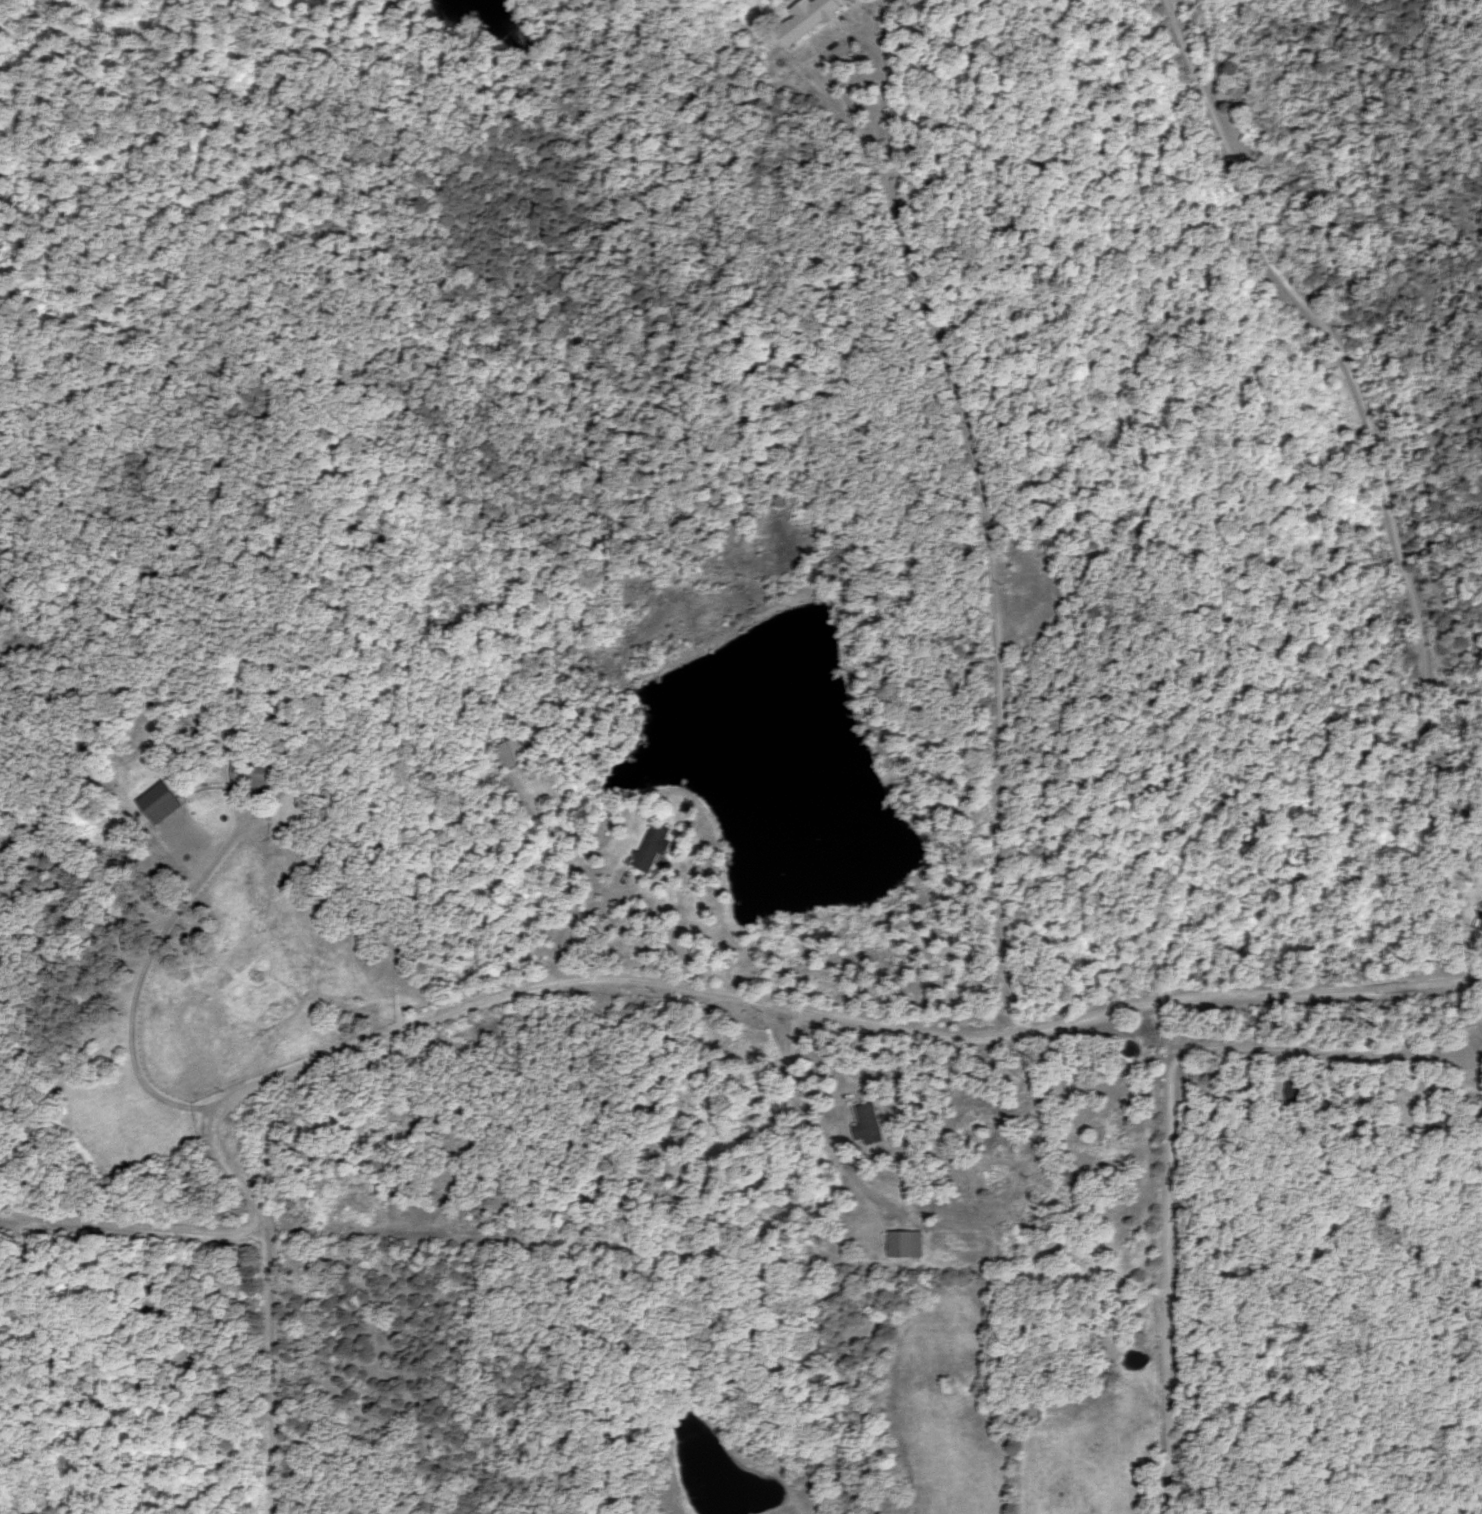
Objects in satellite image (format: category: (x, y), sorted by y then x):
building: (809, 19)
road: (1364, 402)
road: (989, 551)
building: (512, 754)
building: (255, 772)
building: (160, 803)
building: (654, 848)
road: (635, 986)
building: (1295, 1093)
building: (870, 1126)
road: (1170, 1129)
road: (130, 1223)
building: (907, 1245)
building: (1031, 1412)

